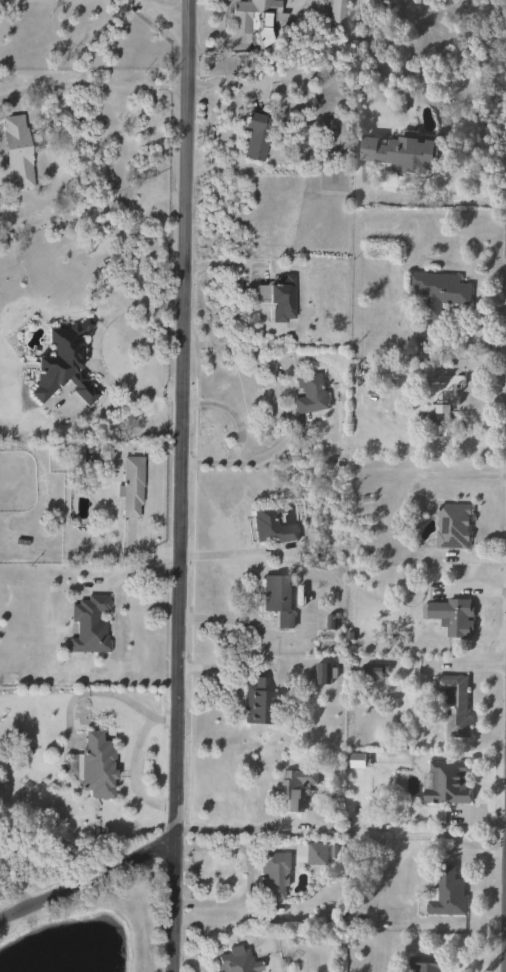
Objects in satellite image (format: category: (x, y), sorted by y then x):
building: (337, 12)
building: (254, 14)
road: (159, 15)
road: (99, 87)
building: (257, 134)
building: (400, 151)
building: (16, 152)
road: (420, 202)
building: (438, 292)
building: (282, 298)
building: (62, 364)
building: (446, 392)
building: (310, 395)
road: (233, 412)
road: (456, 448)
road: (248, 460)
road: (181, 485)
building: (131, 486)
building: (271, 523)
building: (453, 526)
road: (230, 551)
building: (277, 602)
building: (453, 617)
building: (90, 625)
building: (373, 671)
building: (322, 674)
building: (258, 703)
road: (137, 707)
building: (458, 710)
building: (359, 760)
building: (97, 767)
road: (131, 773)
building: (447, 783)
building: (294, 790)
road: (233, 828)
building: (317, 853)
road: (249, 873)
building: (273, 874)
road: (88, 880)
building: (448, 893)
building: (237, 961)
building: (425, 963)

